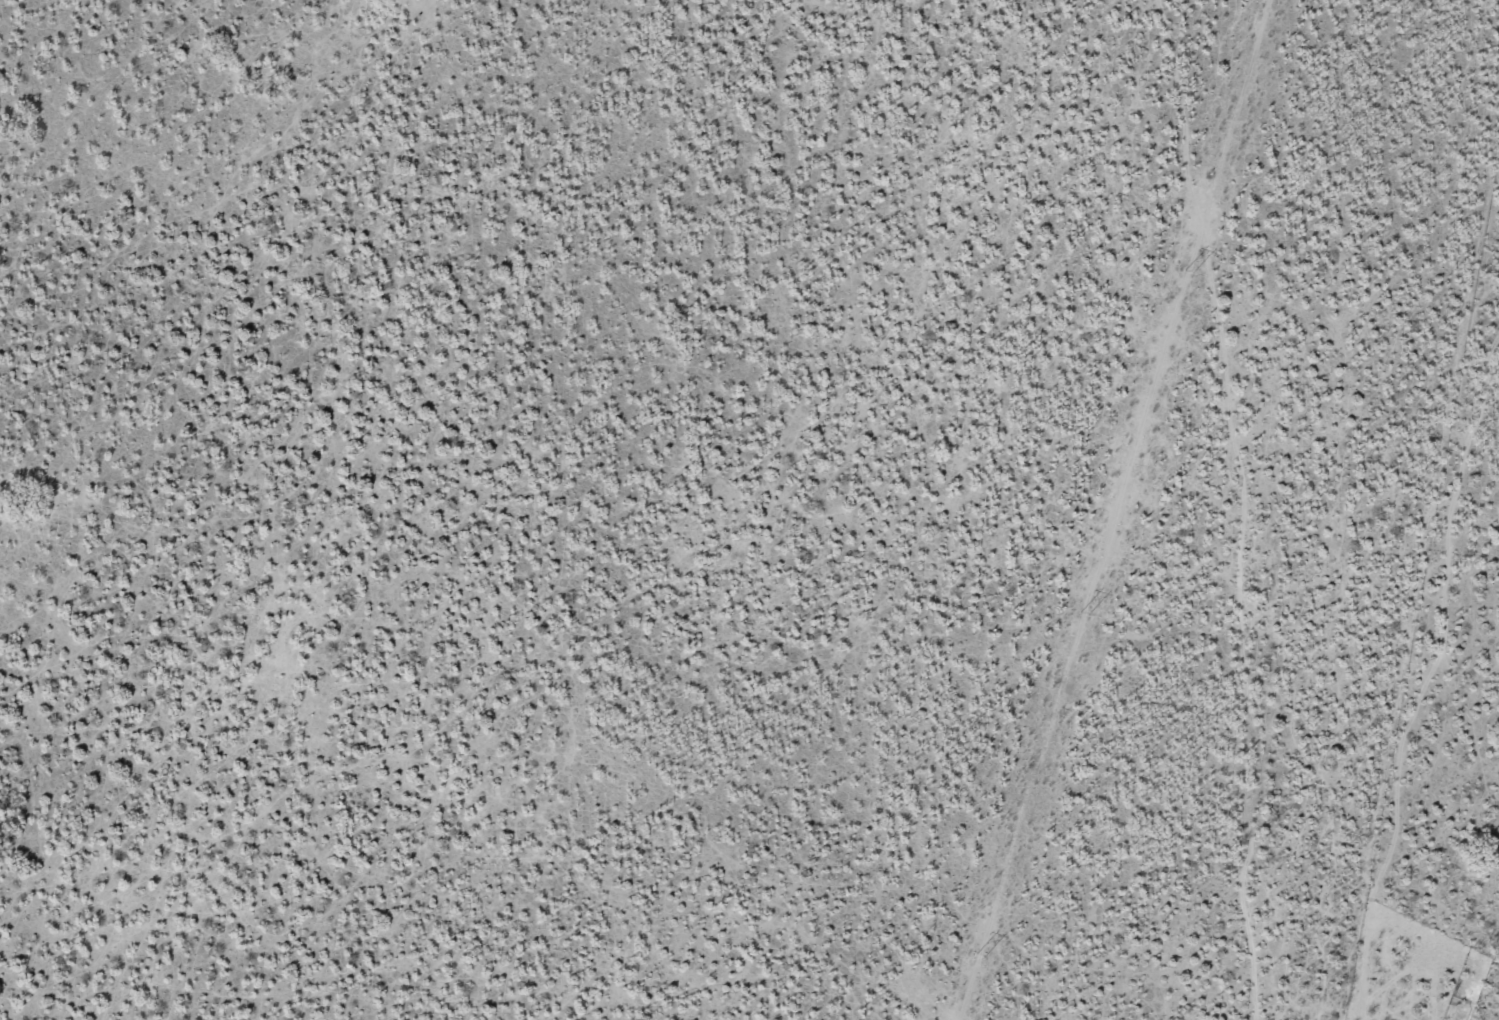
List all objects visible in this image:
power tower: (1185, 269)
road: (1247, 499)
power tower: (1081, 612)
power tower: (978, 954)

